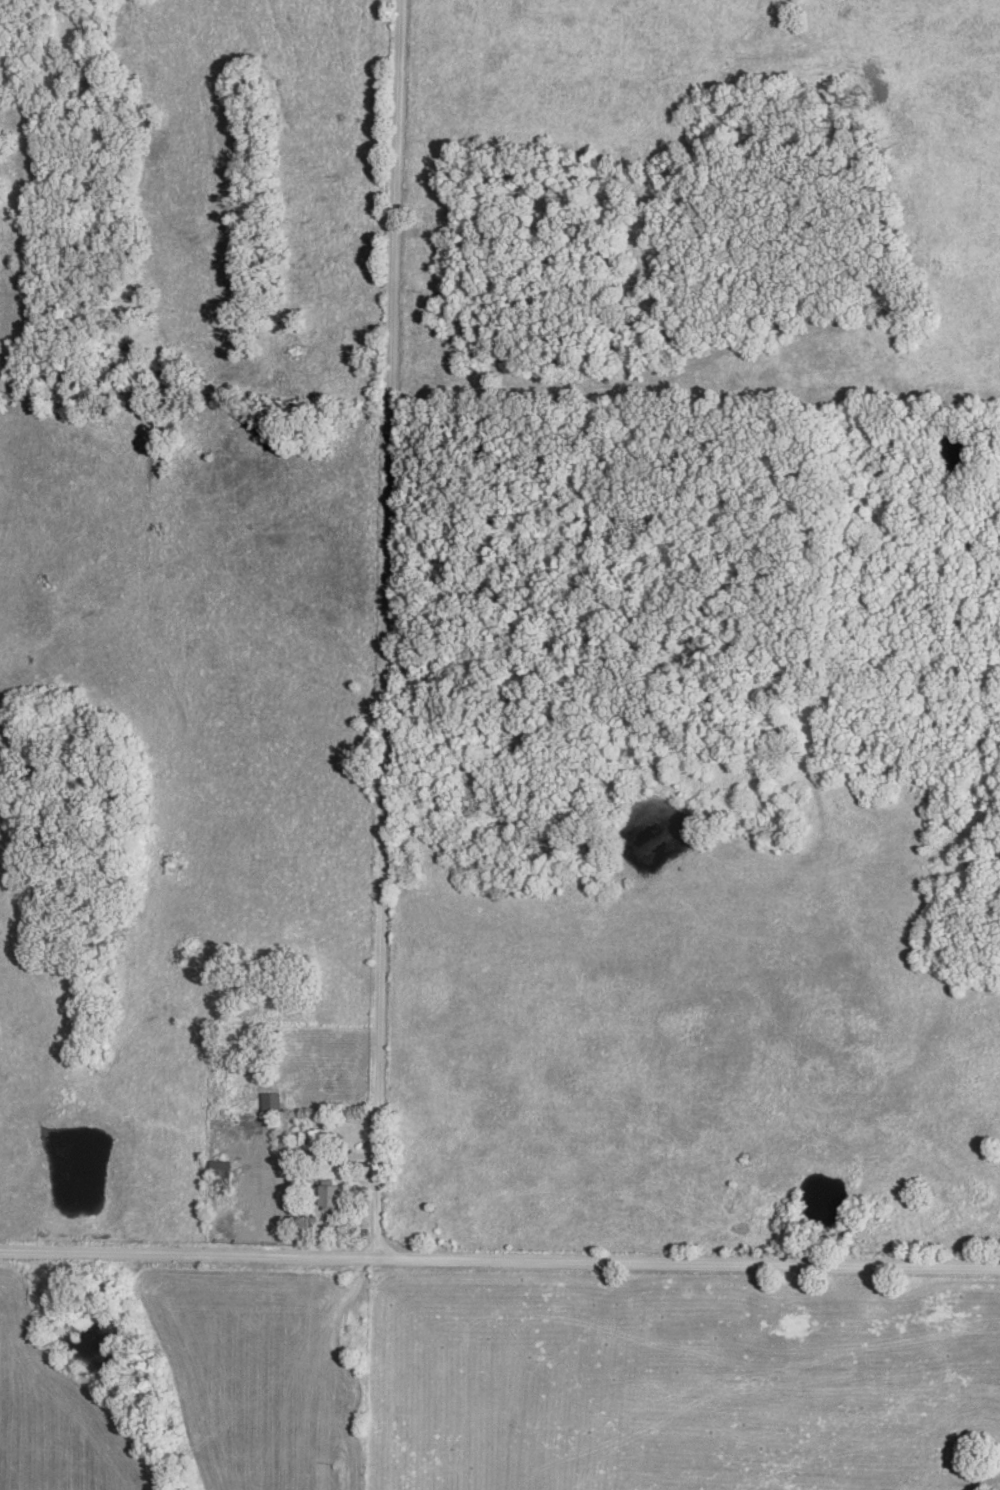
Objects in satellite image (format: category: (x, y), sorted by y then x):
road: (388, 631)
building: (272, 1103)
building: (300, 1139)
building: (221, 1171)
building: (332, 1195)
road: (499, 1261)

